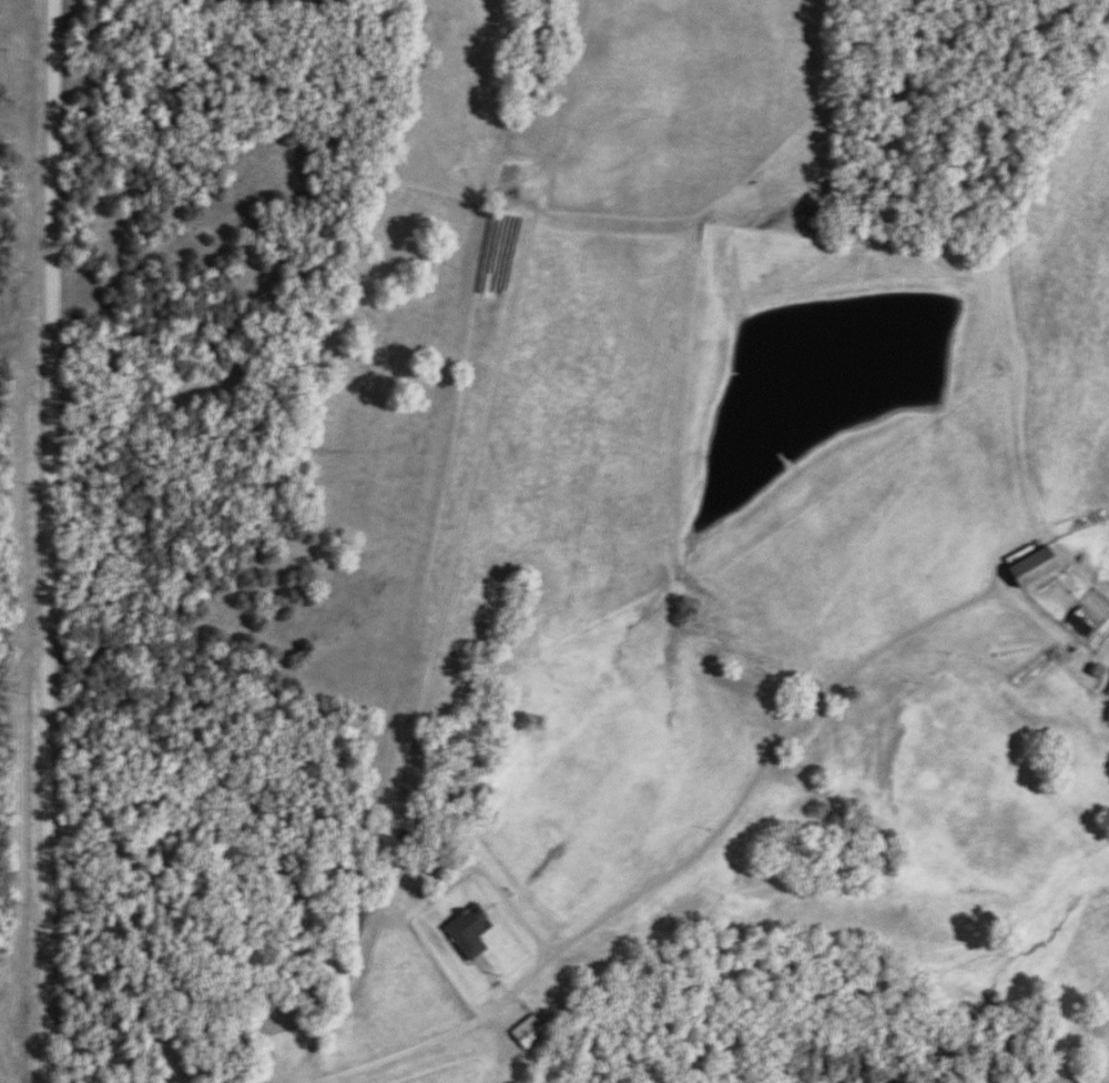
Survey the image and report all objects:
road: (48, 541)
building: (1030, 568)
building: (1108, 692)
road: (672, 867)
building: (465, 934)
building: (528, 1033)

